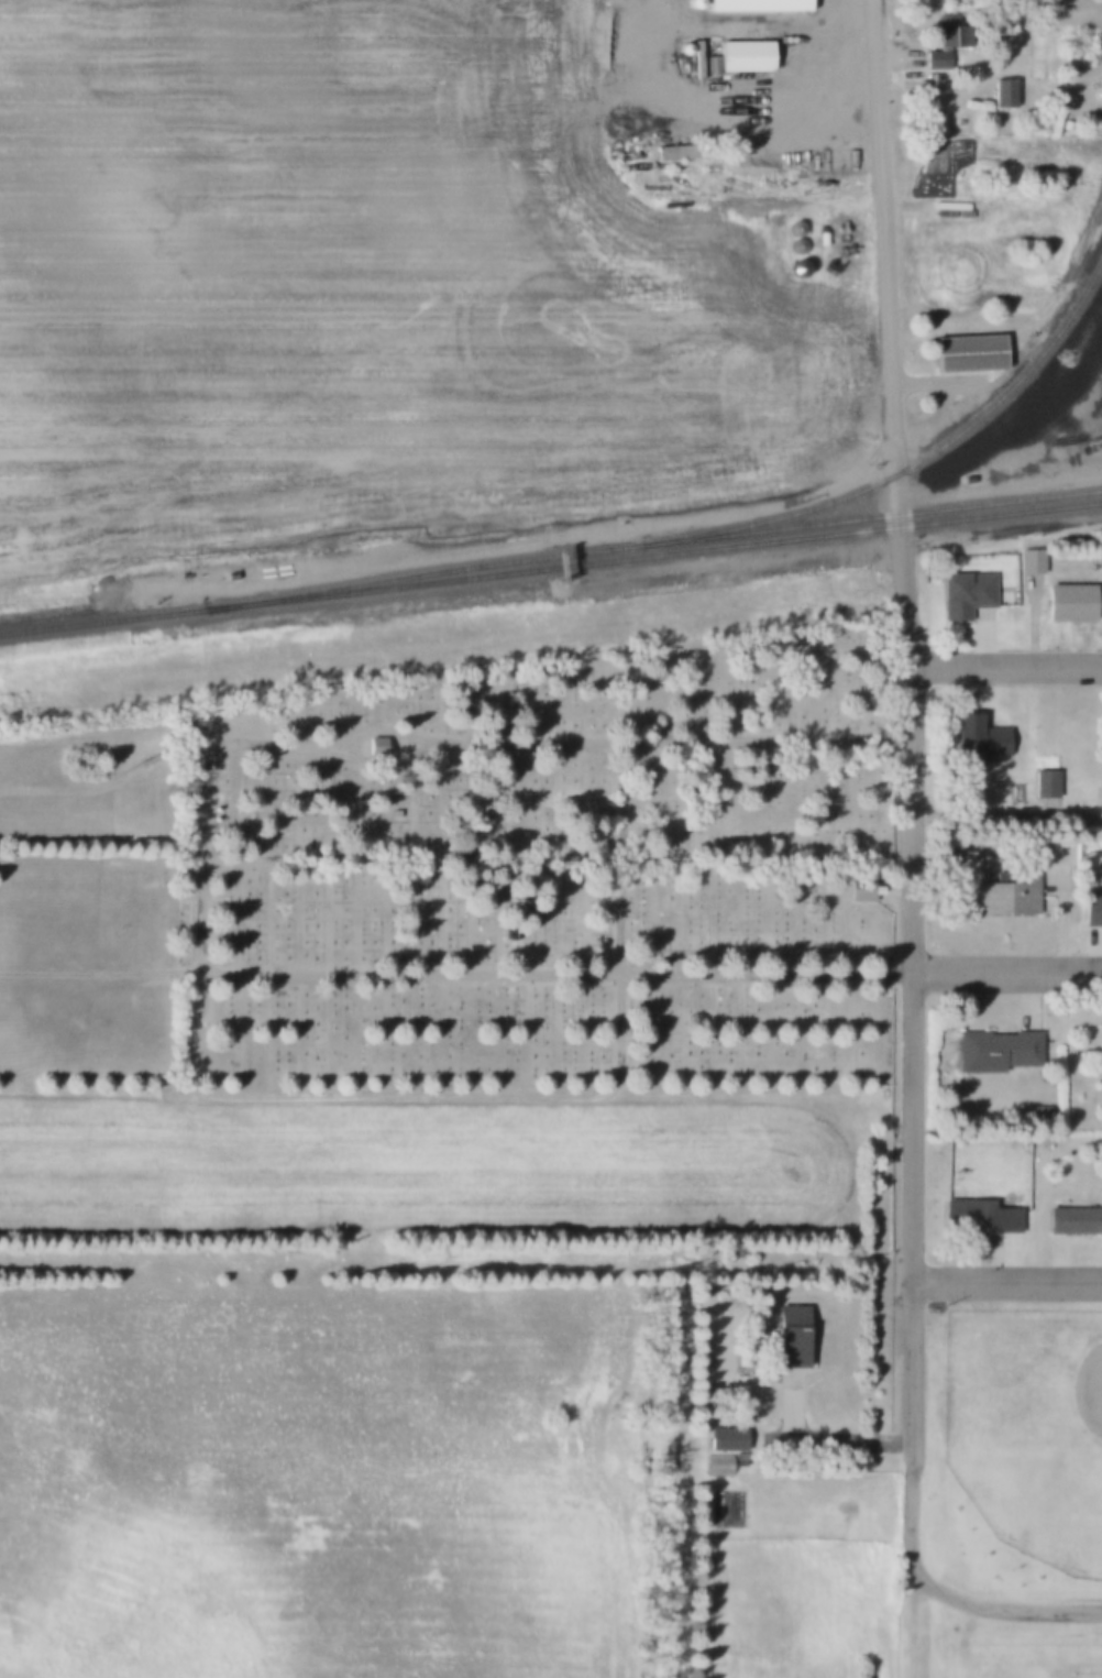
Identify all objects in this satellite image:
building: (693, 3)
silo: (693, 3)
building: (756, 4)
building: (946, 41)
building: (683, 50)
silo: (683, 50)
building: (743, 57)
building: (695, 61)
building: (710, 66)
building: (1003, 94)
road: (737, 114)
building: (673, 152)
building: (793, 229)
silo: (793, 229)
building: (794, 246)
silo: (794, 246)
building: (795, 270)
silo: (795, 270)
building: (968, 347)
railway: (914, 469)
railway: (650, 548)
building: (1099, 561)
building: (1029, 562)
railway: (550, 570)
building: (228, 575)
building: (963, 594)
building: (1068, 603)
road: (1006, 663)
road: (913, 734)
building: (974, 737)
road: (108, 772)
building: (1043, 785)
road: (1007, 816)
road: (203, 853)
road: (231, 854)
building: (859, 890)
building: (1009, 897)
building: (1091, 911)
park: (458, 962)
road: (1007, 973)
building: (995, 1049)
road: (515, 1092)
building: (978, 1217)
building: (1073, 1221)
road: (1009, 1277)
building: (794, 1339)
building: (730, 1443)
park: (1017, 1454)
building: (723, 1468)
road: (952, 1602)
road: (915, 1627)
park: (1028, 1661)

